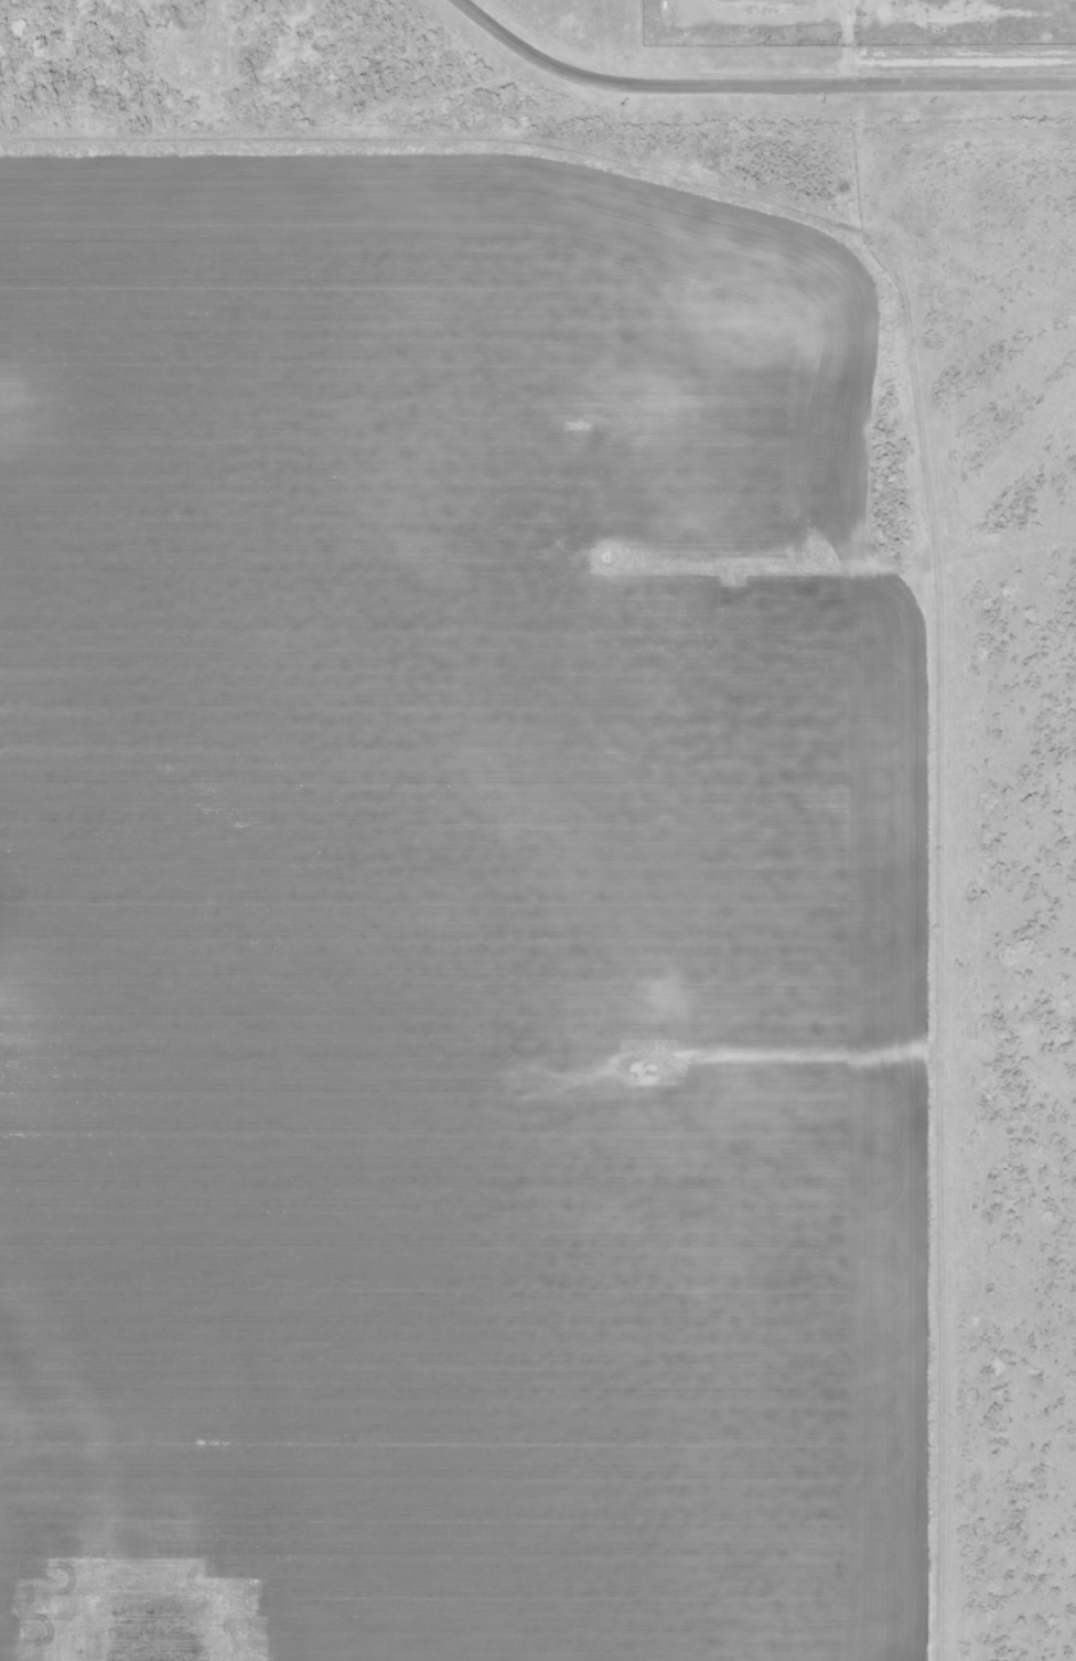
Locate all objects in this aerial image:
road: (756, 77)
road: (889, 513)

